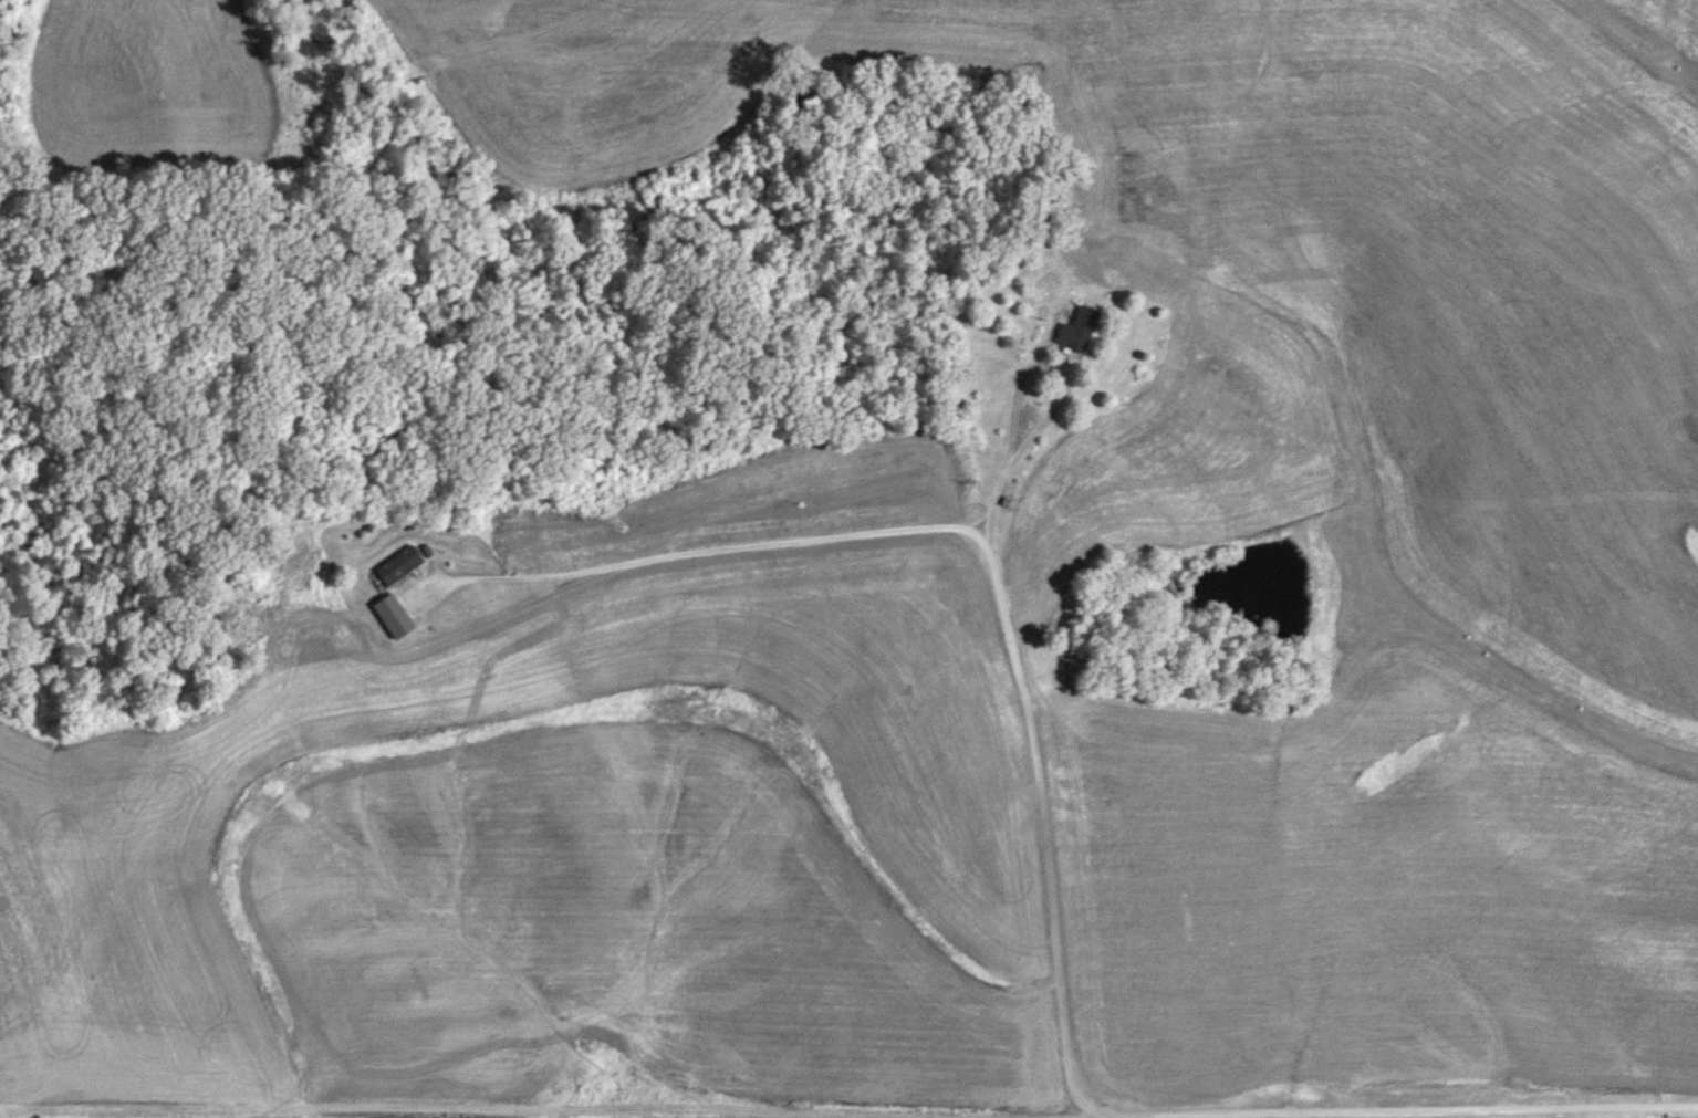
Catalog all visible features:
building: (1076, 330)
road: (1062, 391)
road: (767, 541)
building: (397, 565)
road: (1045, 824)
road: (1405, 1107)
road: (1110, 1115)
crop: (168, 1117)

